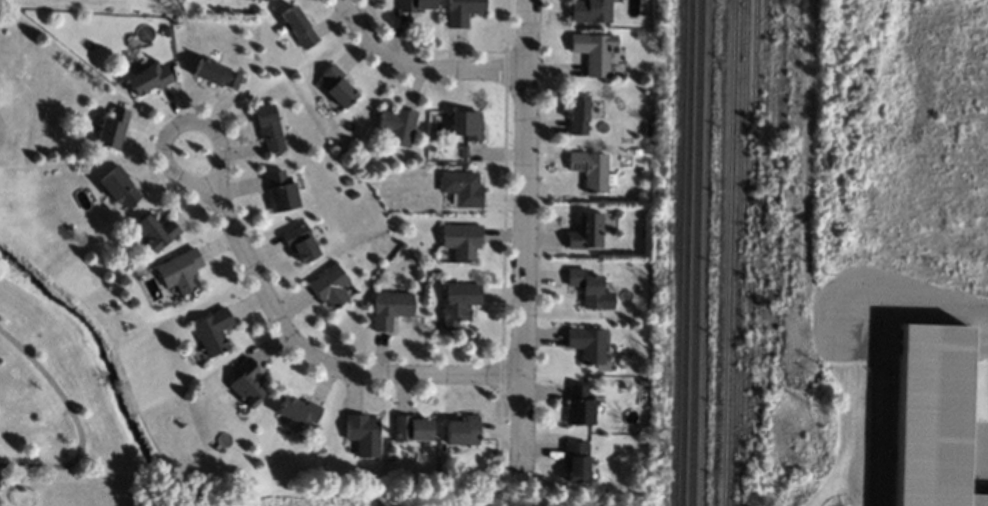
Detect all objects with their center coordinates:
building: (259, 0)
building: (262, 0)
park: (4, 2)
building: (416, 6)
building: (463, 11)
building: (590, 11)
building: (298, 27)
building: (168, 31)
building: (640, 35)
road: (372, 46)
building: (594, 52)
building: (78, 67)
road: (475, 70)
building: (216, 74)
building: (149, 78)
building: (336, 86)
building: (578, 114)
road: (177, 124)
building: (397, 125)
building: (466, 125)
building: (269, 128)
building: (112, 129)
building: (431, 149)
building: (637, 152)
building: (458, 155)
building: (590, 170)
building: (347, 182)
building: (118, 186)
building: (462, 188)
building: (281, 191)
building: (154, 232)
building: (586, 232)
road: (522, 234)
railway: (752, 234)
railway: (761, 235)
building: (461, 241)
building: (300, 243)
railway: (684, 253)
railway: (695, 253)
railway: (729, 253)
railway: (742, 253)
building: (179, 271)
building: (329, 286)
building: (589, 289)
building: (458, 303)
building: (390, 308)
building: (212, 331)
building: (587, 343)
road: (878, 356)
road: (322, 361)
building: (246, 382)
park: (64, 385)
building: (579, 405)
building: (298, 411)
building: (931, 417)
road: (75, 421)
building: (411, 428)
building: (314, 430)
building: (462, 431)
building: (363, 434)
building: (390, 457)
building: (576, 461)
park: (318, 494)

